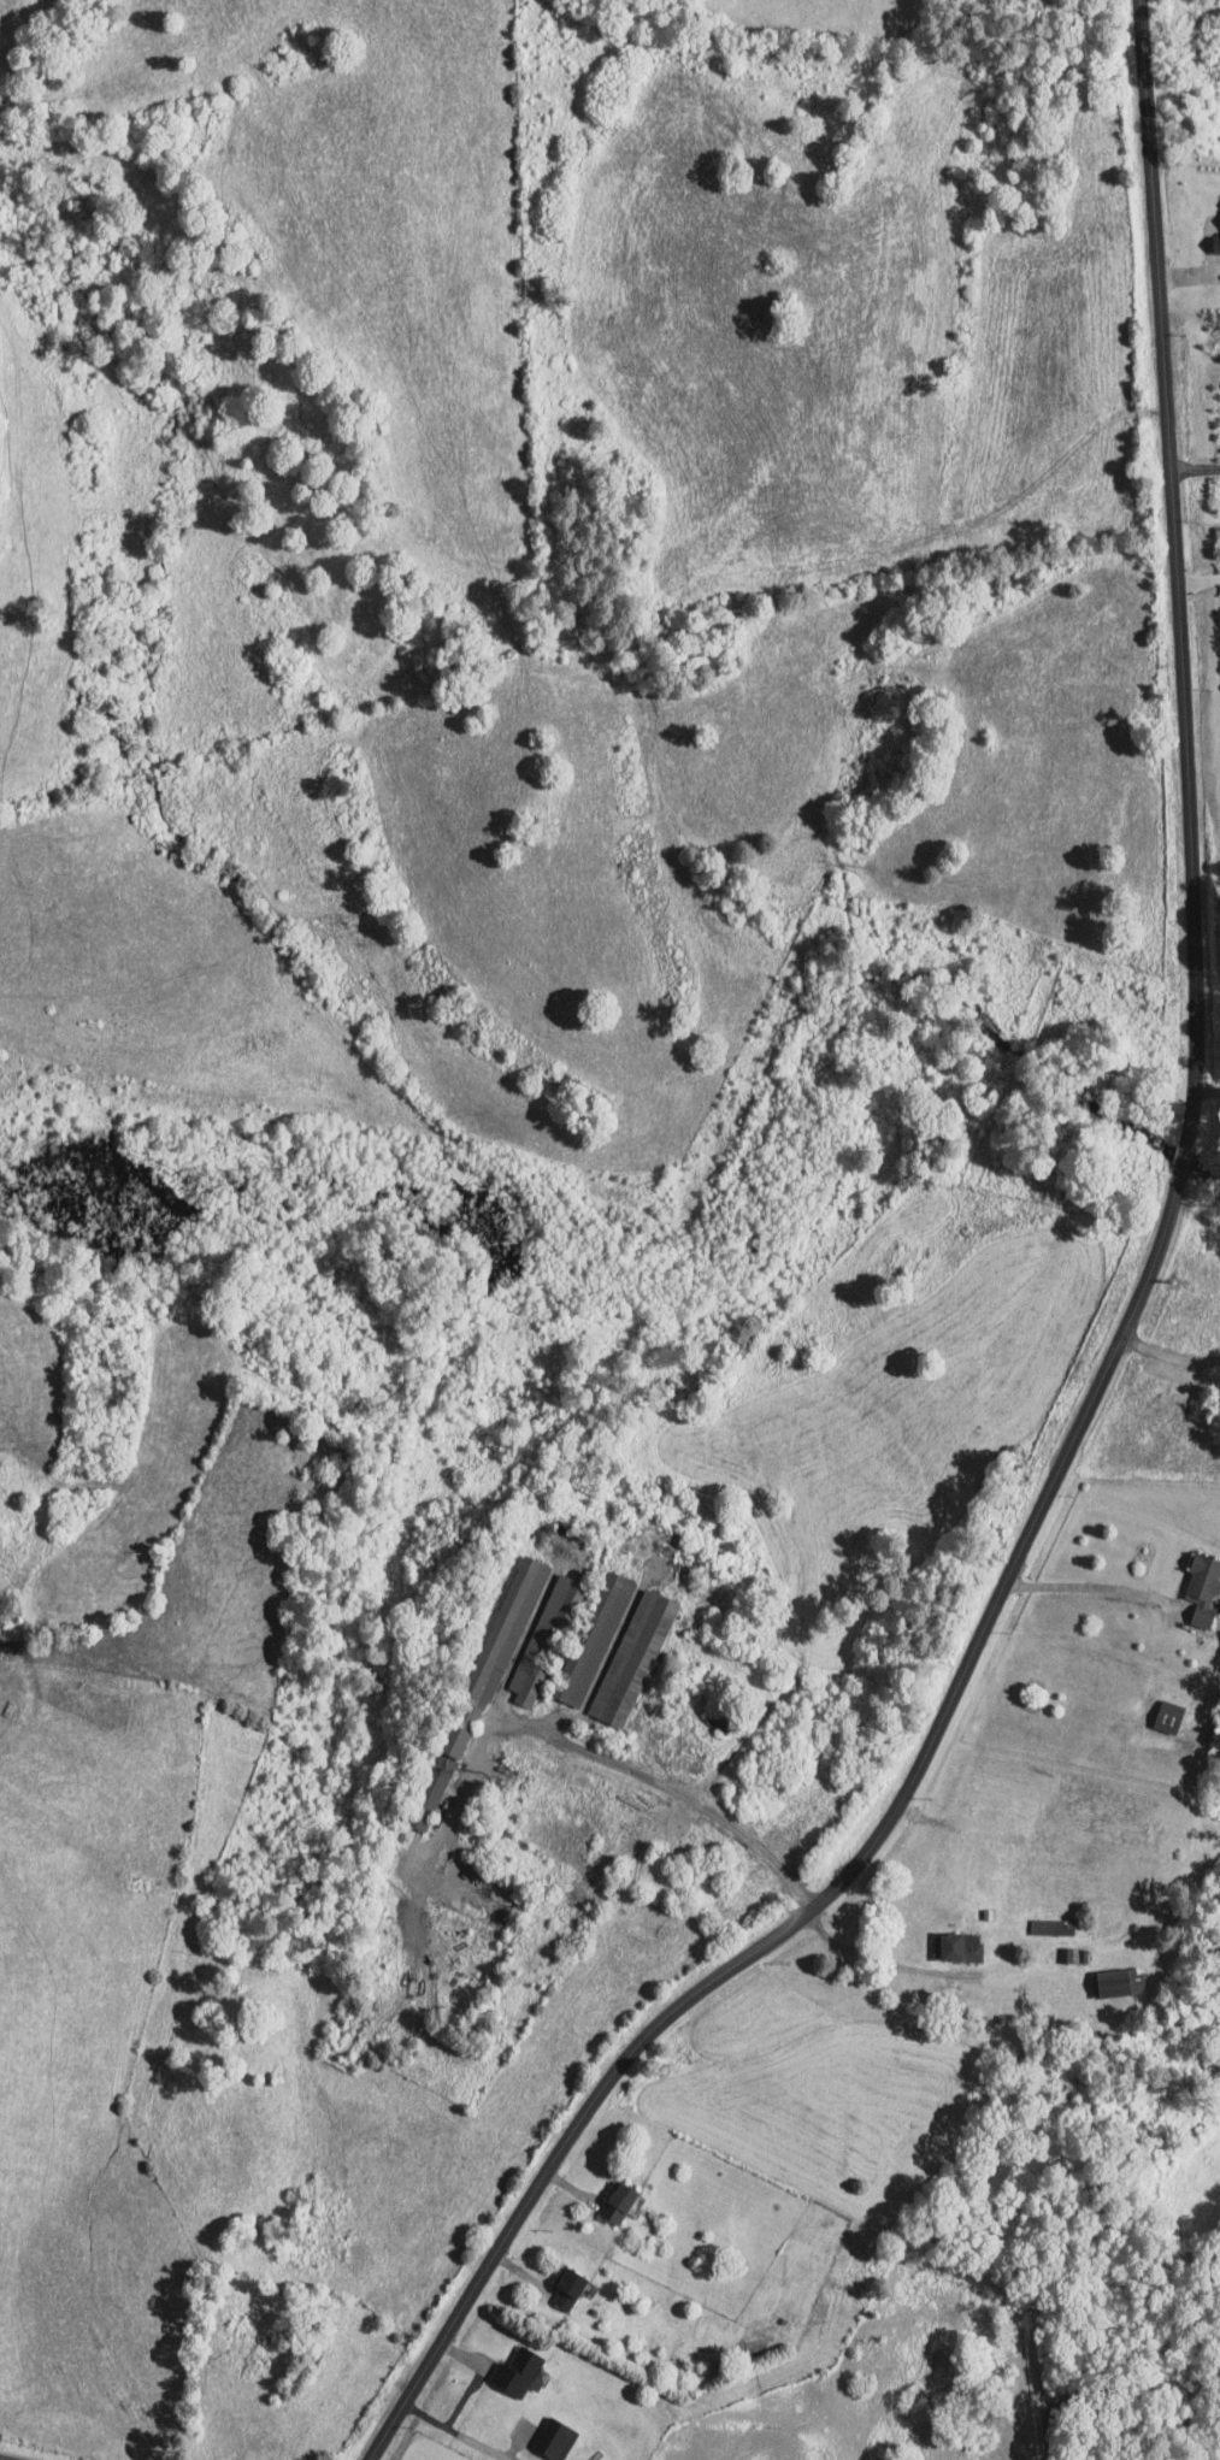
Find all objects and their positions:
building: (1216, 242)
road: (1196, 468)
road: (1198, 580)
road: (1204, 1090)
road: (1115, 1351)
road: (1169, 1351)
road: (1089, 1586)
building: (1203, 1587)
building: (544, 1638)
building: (594, 1638)
building: (635, 1657)
building: (1169, 1716)
road: (688, 1795)
building: (1053, 1927)
building: (960, 1946)
road: (882, 1960)
building: (1121, 1981)
building: (618, 2202)
building: (568, 2289)
building: (518, 2371)
road: (1133, 2390)
road: (454, 2430)
road: (1049, 2432)
building: (556, 2437)
road: (39, 2450)

